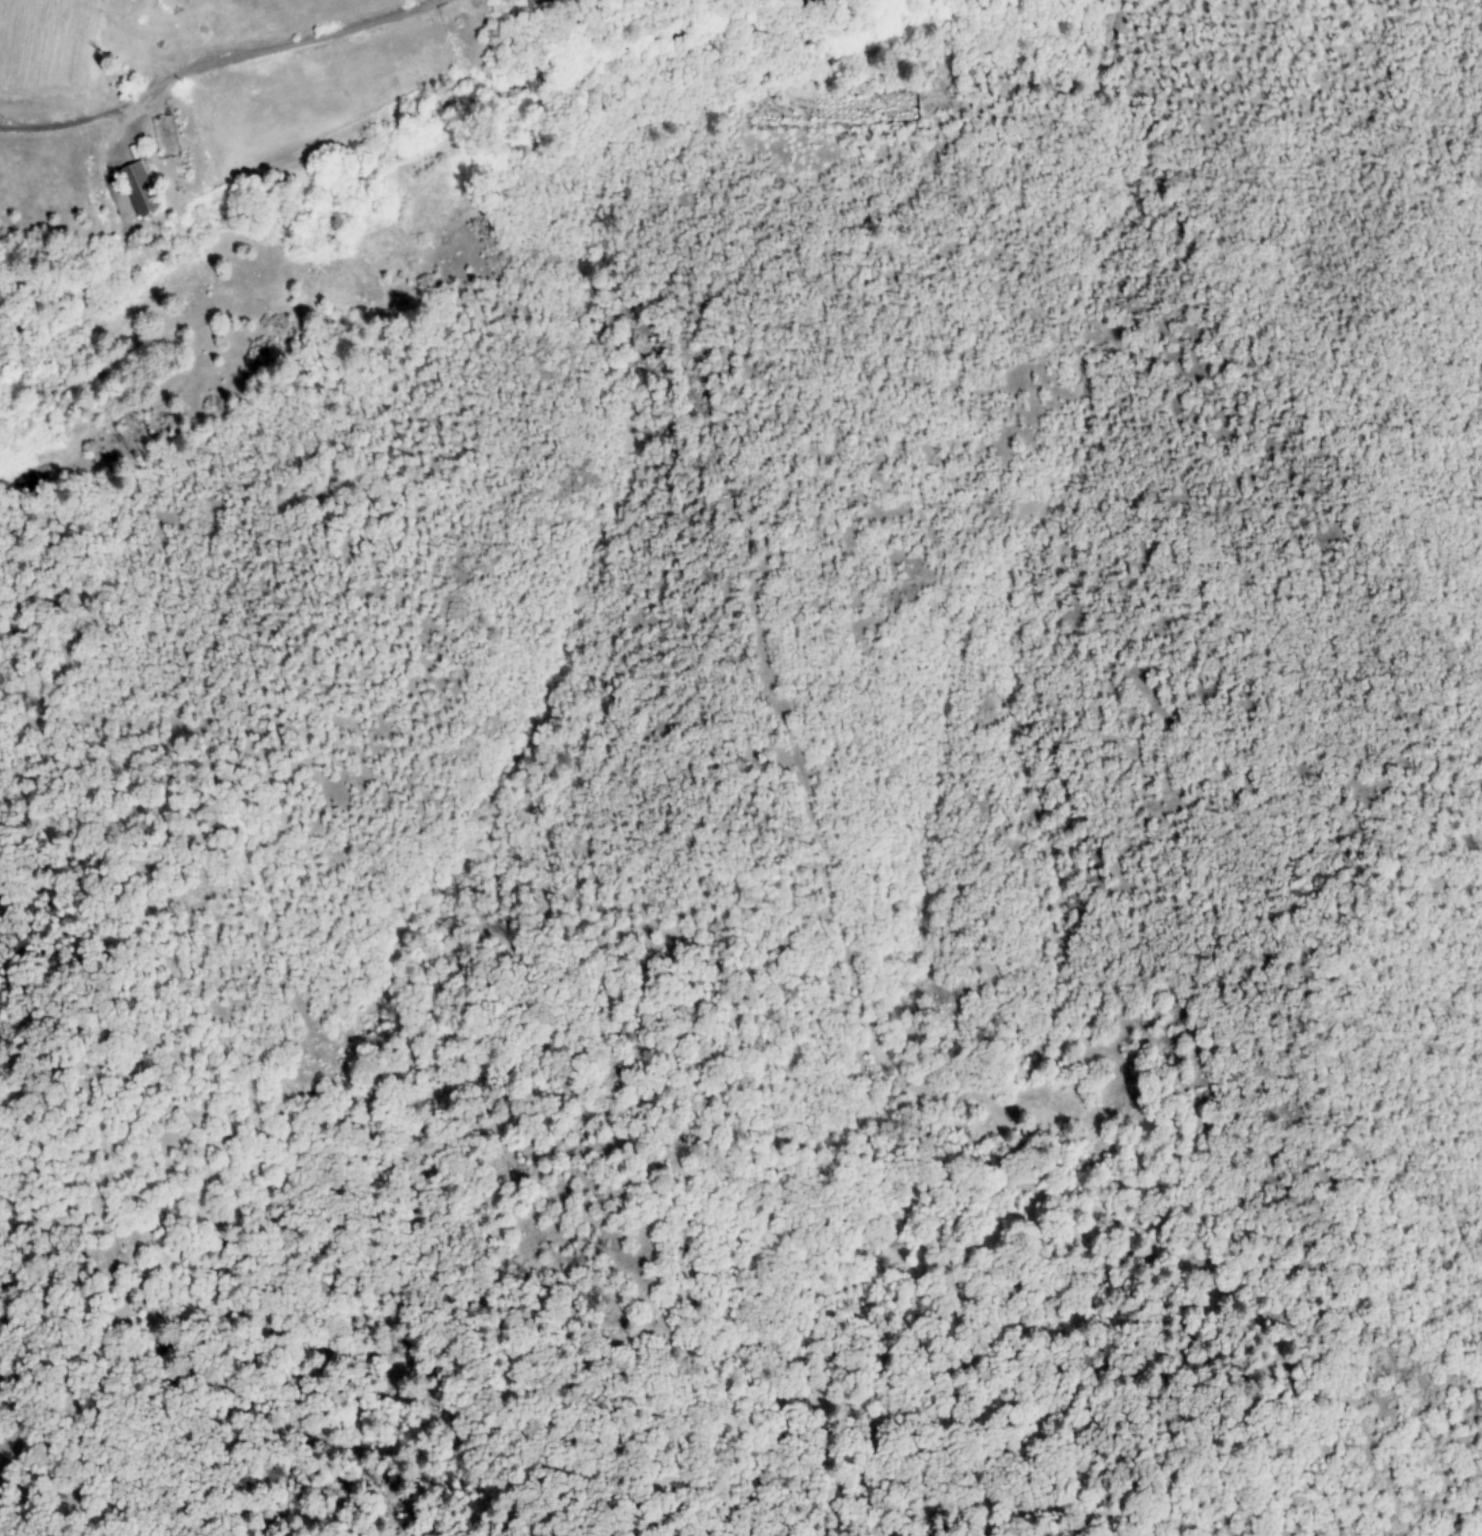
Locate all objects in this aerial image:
building: (839, 1)
road: (224, 64)
building: (136, 187)

